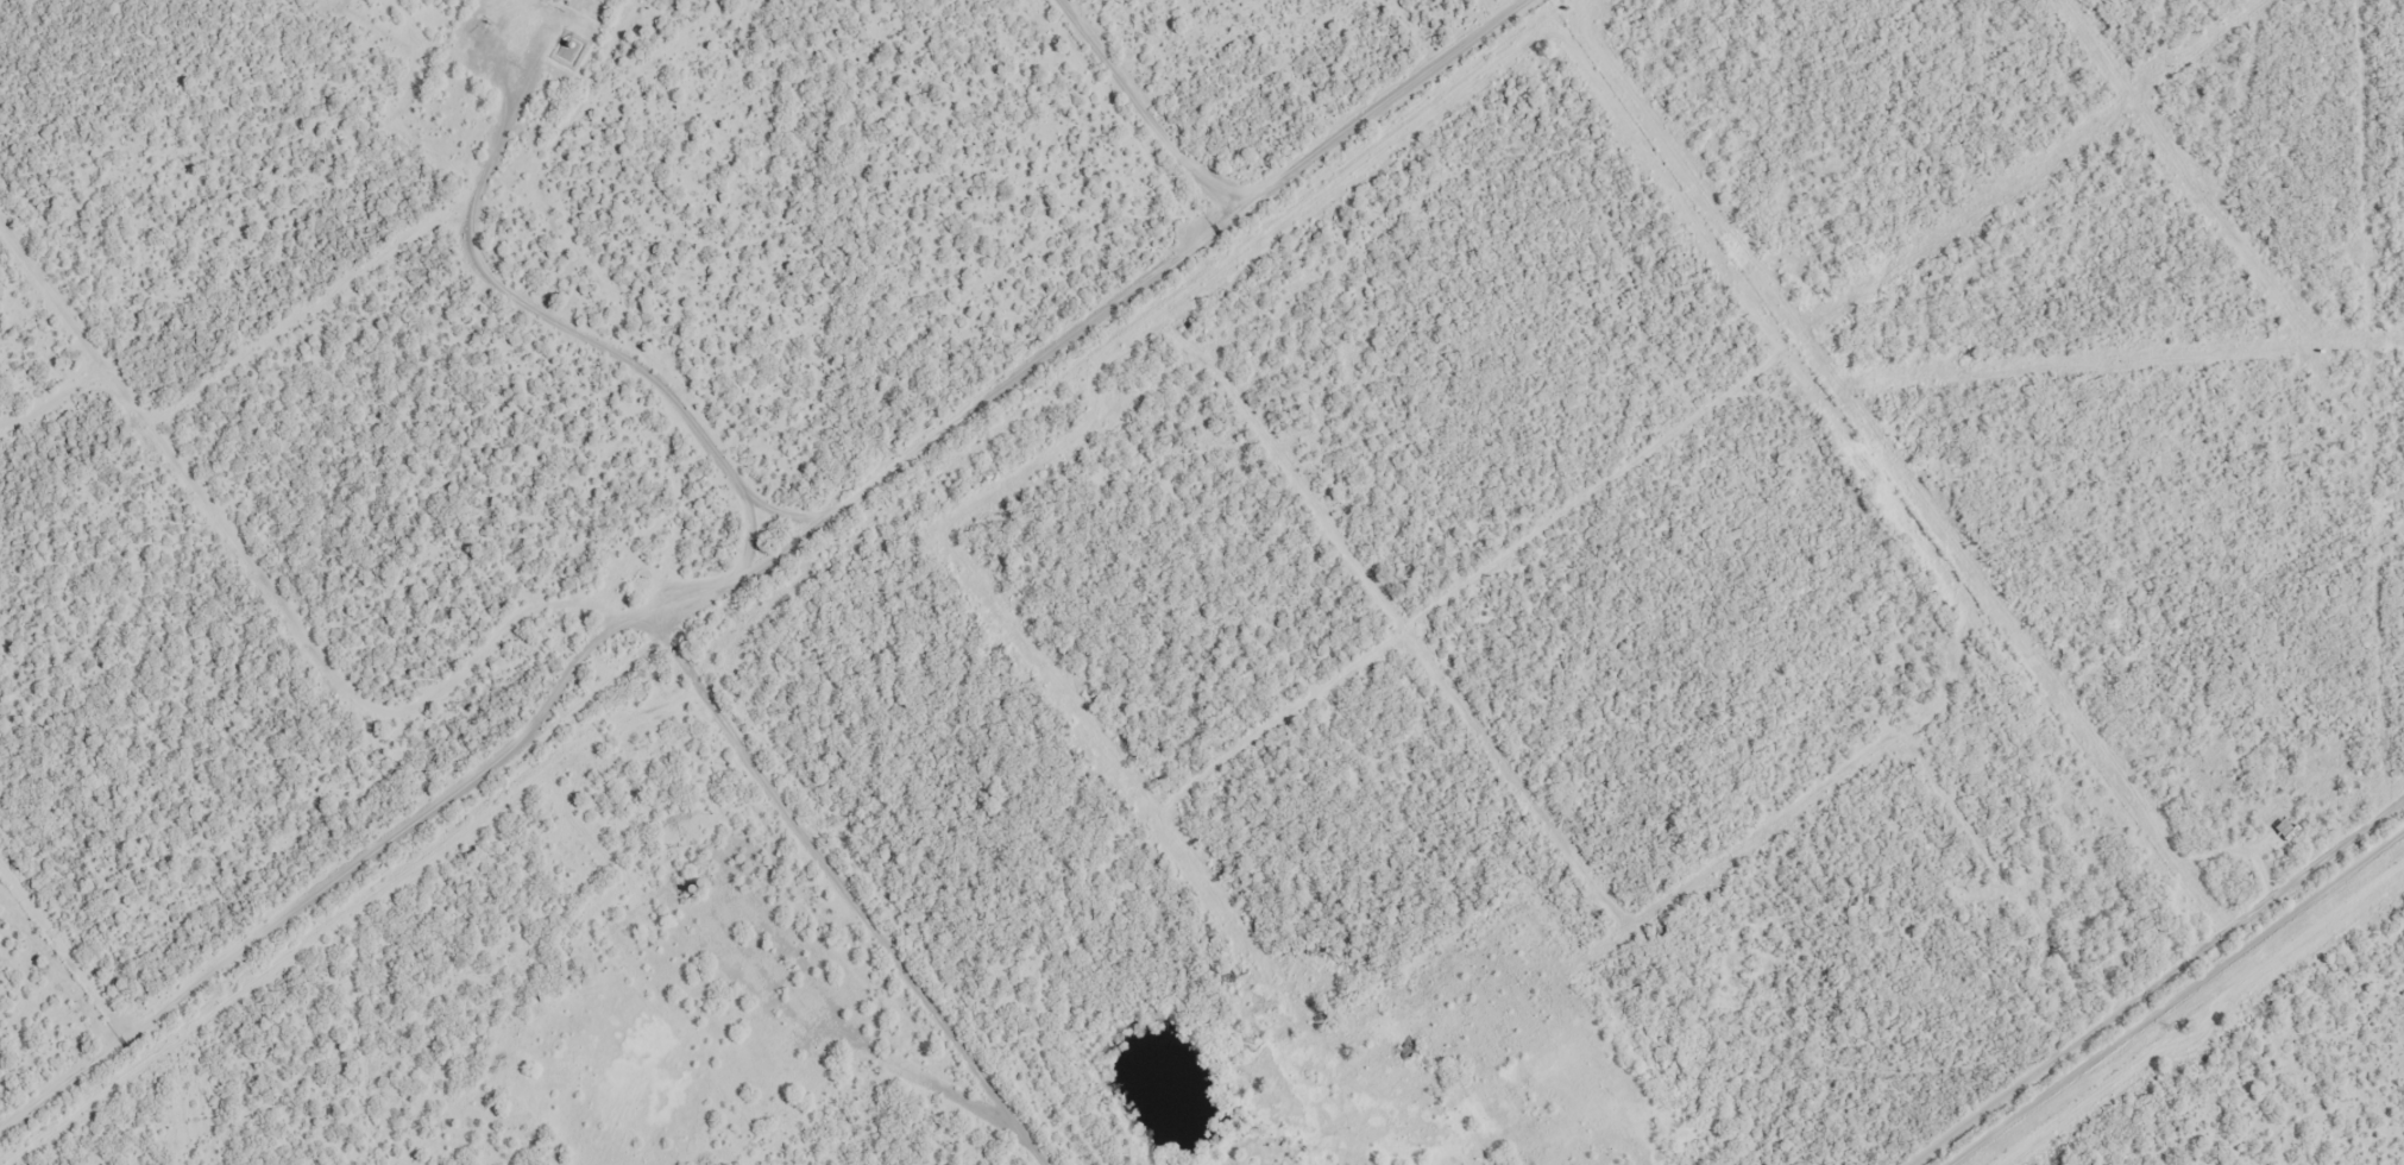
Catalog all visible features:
building: (2280, 825)
road: (2182, 1000)

